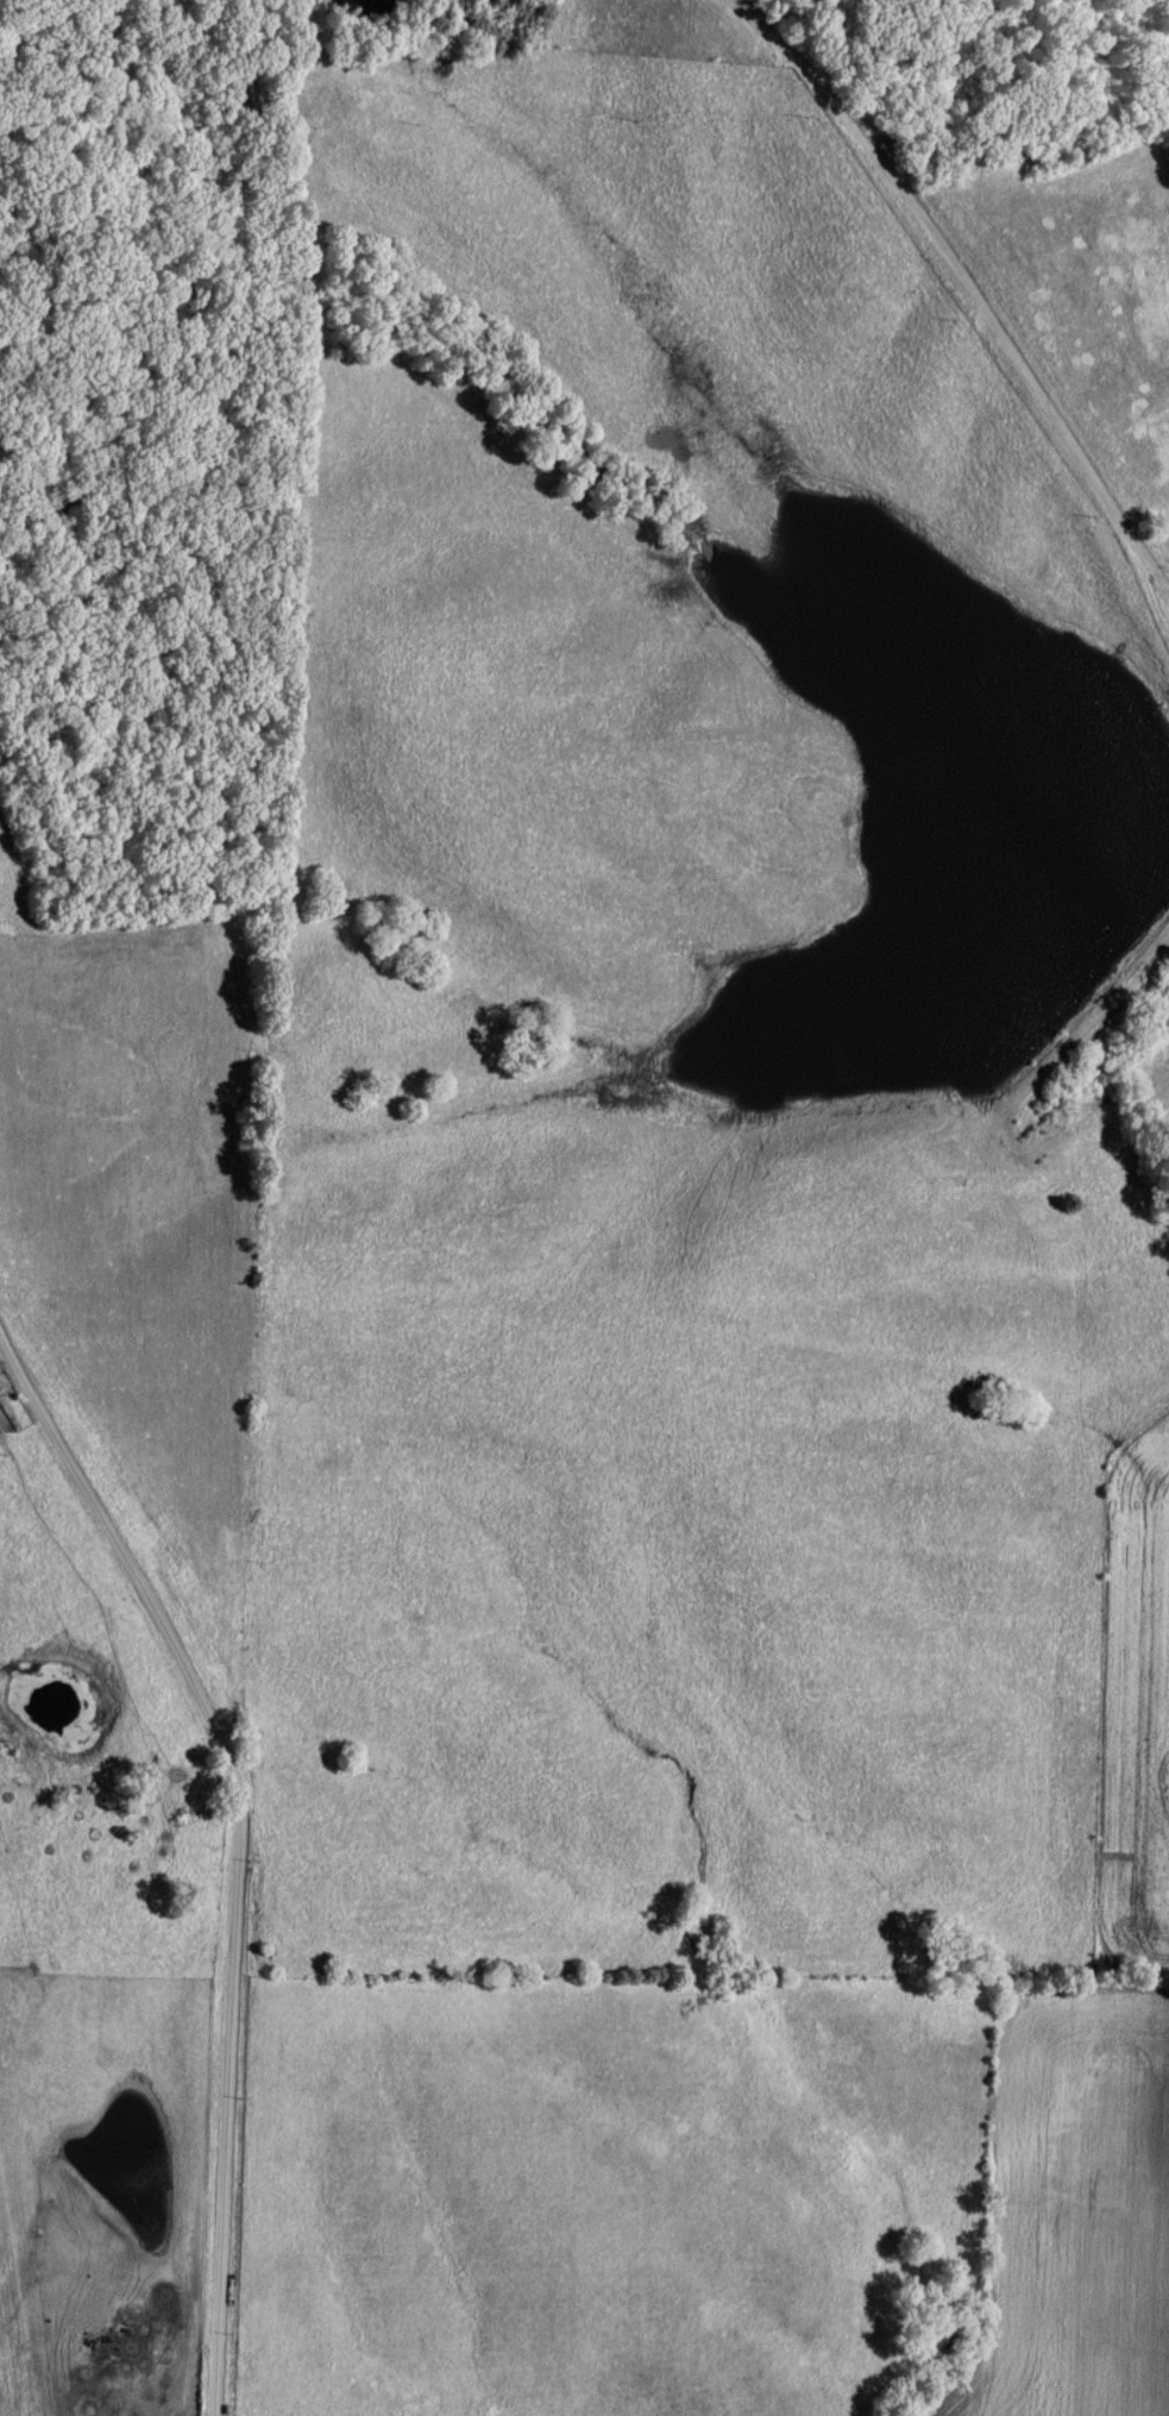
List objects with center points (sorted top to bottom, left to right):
road: (963, 282)
road: (244, 1844)

